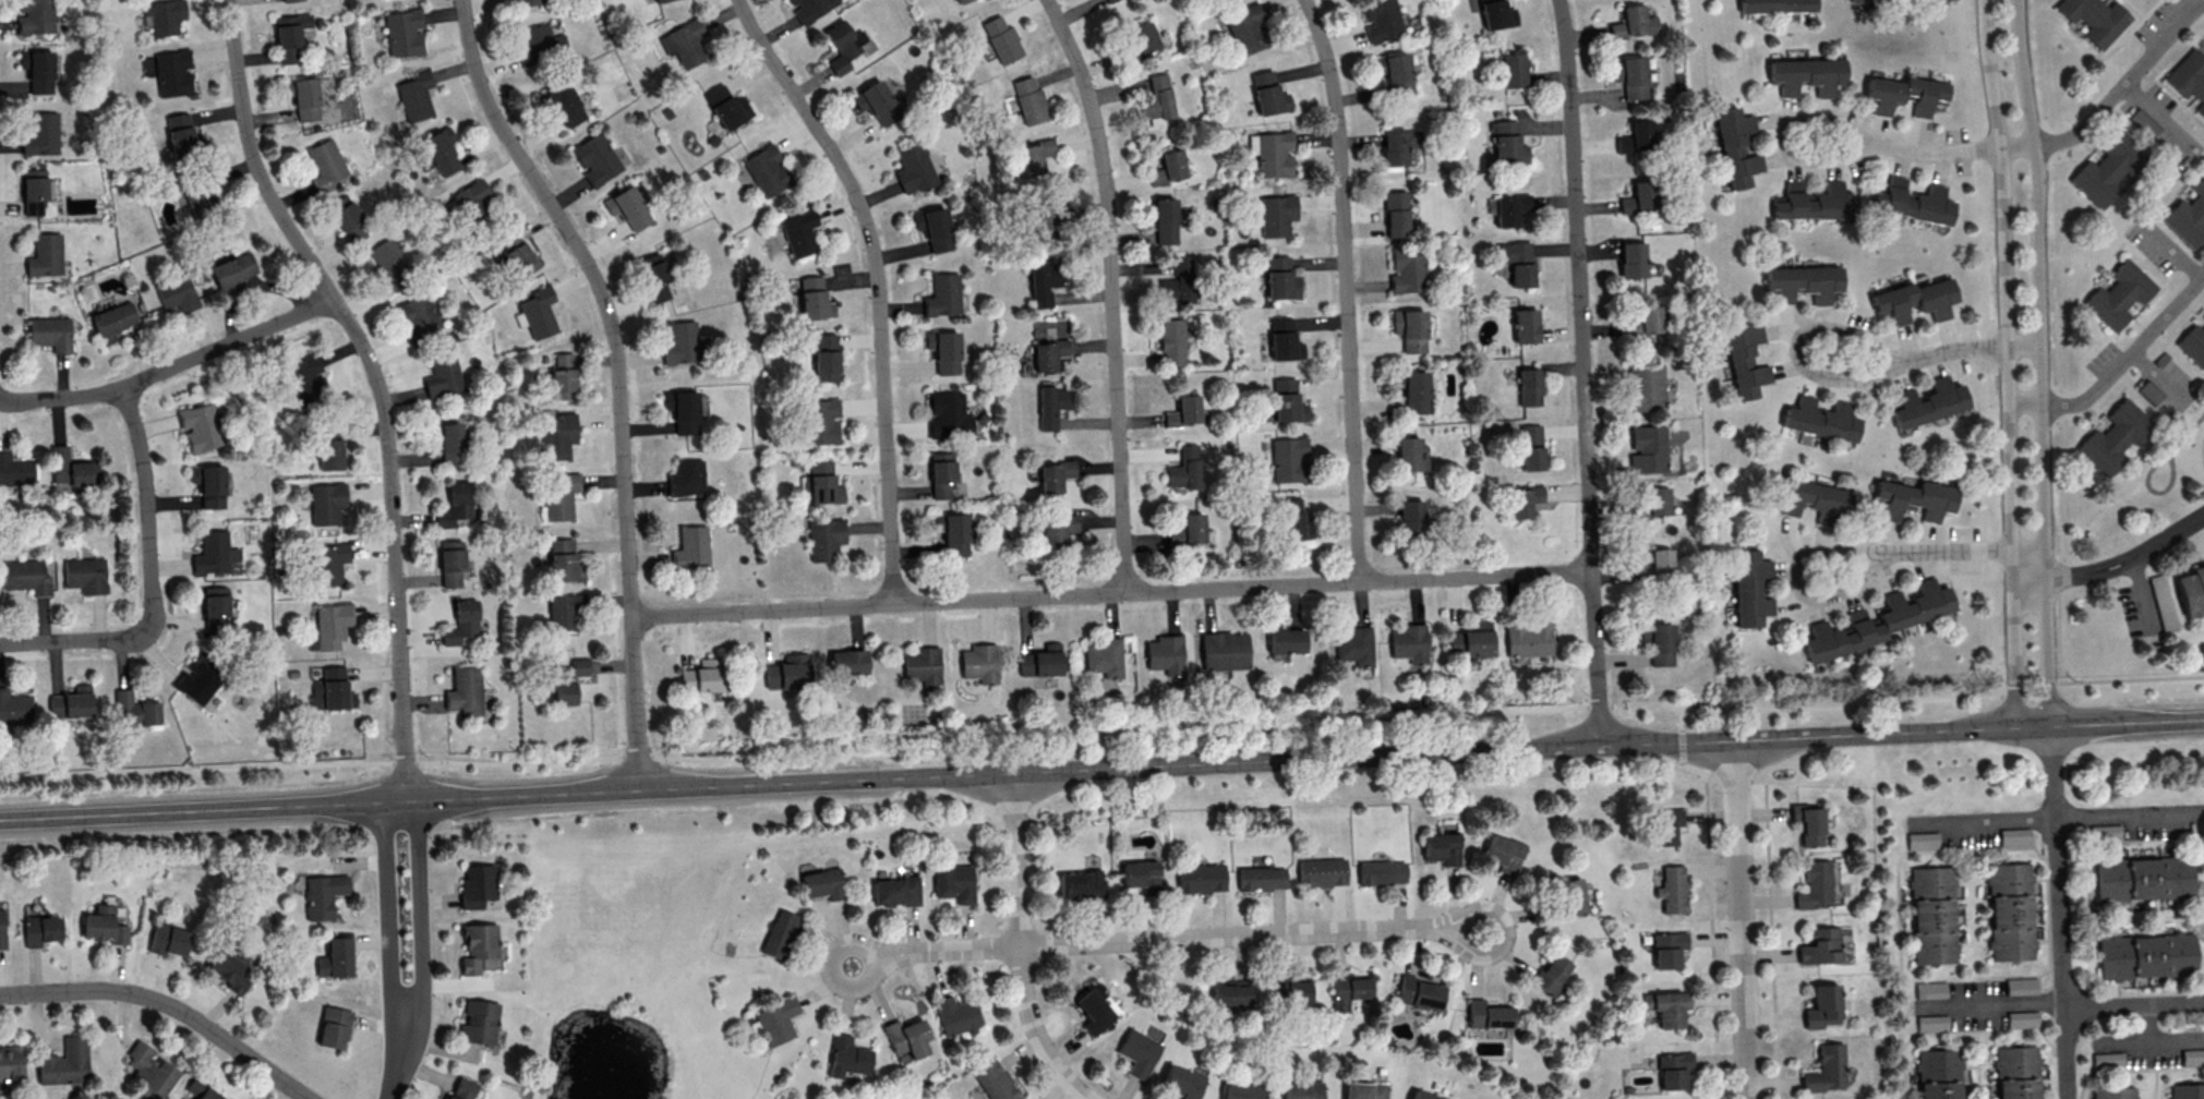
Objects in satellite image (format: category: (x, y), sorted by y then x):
building: (290, 0)
building: (660, 0)
building: (1109, 0)
building: (962, 1)
building: (528, 2)
building: (810, 8)
building: (37, 14)
building: (1497, 14)
building: (162, 15)
building: (1382, 19)
building: (2093, 20)
building: (1634, 22)
building: (1245, 29)
building: (405, 33)
building: (290, 36)
building: (1145, 36)
building: (1003, 39)
building: (683, 44)
building: (539, 46)
building: (844, 46)
building: (1394, 67)
building: (1514, 69)
building: (37, 70)
building: (172, 72)
building: (1807, 74)
building: (1633, 76)
building: (2188, 78)
building: (1884, 94)
building: (1267, 95)
building: (414, 96)
building: (1928, 96)
road: (2116, 96)
building: (305, 99)
building: (1157, 99)
building: (1031, 100)
building: (881, 101)
building: (562, 106)
building: (726, 108)
building: (40, 133)
building: (1641, 133)
building: (181, 134)
road: (1781, 135)
building: (1624, 143)
building: (1398, 145)
building: (1737, 146)
road: (1931, 149)
building: (437, 152)
building: (1034, 155)
building: (1270, 158)
building: (594, 160)
building: (326, 165)
building: (1168, 167)
building: (2108, 169)
building: (914, 170)
building: (766, 172)
building: (33, 190)
building: (197, 198)
building: (470, 202)
building: (1816, 202)
building: (628, 207)
building: (1510, 209)
building: (1396, 213)
building: (1041, 216)
building: (1275, 217)
building: (2189, 218)
building: (1164, 221)
building: (350, 222)
building: (935, 228)
building: (799, 233)
building: (518, 253)
building: (45, 254)
road: (2175, 254)
building: (1633, 259)
building: (1518, 262)
building: (389, 265)
building: (233, 268)
building: (1409, 269)
building: (655, 280)
building: (1279, 280)
building: (1045, 281)
building: (1821, 281)
road: (877, 282)
building: (1783, 282)
building: (1176, 283)
road: (1346, 288)
road: (1111, 290)
building: (177, 293)
building: (941, 297)
building: (2119, 297)
building: (815, 299)
building: (1915, 300)
building: (538, 313)
building: (421, 318)
building: (1646, 319)
building: (112, 321)
building: (1526, 325)
building: (1409, 330)
building: (50, 333)
building: (1171, 340)
building: (1284, 341)
building: (679, 343)
road: (1793, 345)
building: (2193, 346)
road: (1971, 347)
building: (943, 352)
building: (1049, 353)
building: (1745, 355)
building: (827, 358)
road: (2009, 364)
road: (2039, 364)
road: (171, 365)
road: (2119, 367)
road: (1583, 372)
road: (2155, 374)
building: (304, 375)
building: (563, 376)
road: (616, 376)
building: (444, 377)
road: (376, 383)
building: (1529, 386)
building: (1647, 386)
building: (1417, 391)
building: (1286, 402)
building: (1928, 402)
building: (1052, 404)
building: (682, 412)
building: (1182, 413)
building: (948, 418)
building: (1821, 419)
building: (818, 423)
building: (201, 426)
road: (2185, 432)
building: (557, 435)
building: (2116, 438)
building: (453, 443)
building: (1532, 447)
building: (1649, 448)
building: (330, 454)
building: (1410, 454)
building: (1286, 461)
building: (1184, 468)
building: (15, 469)
building: (70, 470)
building: (941, 474)
building: (1053, 475)
building: (685, 481)
building: (820, 483)
building: (209, 484)
road: (2152, 492)
building: (559, 495)
building: (1915, 498)
building: (1814, 499)
building: (1523, 500)
building: (328, 502)
building: (1654, 503)
building: (456, 505)
road: (148, 516)
building: (1410, 516)
building: (1290, 522)
building: (1193, 527)
building: (1058, 530)
building: (952, 535)
building: (823, 541)
building: (688, 548)
road: (1946, 552)
building: (215, 553)
building: (563, 560)
building: (451, 561)
building: (329, 563)
road: (2115, 564)
building: (1658, 565)
building: (86, 573)
road: (1793, 580)
building: (1750, 588)
road: (1110, 592)
building: (2192, 593)
road: (2144, 595)
building: (2163, 596)
building: (216, 608)
building: (564, 609)
building: (1879, 620)
building: (334, 624)
building: (462, 625)
building: (1529, 638)
road: (61, 639)
building: (1286, 640)
building: (1471, 642)
building: (1408, 644)
building: (1353, 648)
building: (1225, 650)
building: (1662, 652)
building: (1164, 655)
building: (1103, 659)
building: (1041, 661)
building: (846, 662)
building: (977, 665)
building: (920, 667)
building: (787, 672)
building: (702, 676)
building: (200, 679)
building: (569, 680)
building: (332, 689)
building: (465, 691)
building: (72, 703)
building: (14, 706)
building: (137, 709)
road: (1104, 734)
road: (1101, 766)
road: (2131, 818)
road: (1985, 821)
building: (1664, 824)
building: (1811, 825)
building: (2015, 836)
building: (1923, 840)
building: (1441, 850)
building: (1504, 853)
building: (1380, 873)
building: (1321, 874)
building: (1140, 878)
building: (1200, 879)
building: (954, 881)
building: (1260, 881)
building: (2142, 881)
building: (823, 883)
building: (1081, 883)
building: (478, 884)
building: (1814, 886)
building: (1672, 889)
building: (895, 891)
building: (323, 894)
road: (1710, 894)
building: (1569, 897)
building: (2009, 914)
road: (2059, 915)
building: (1930, 917)
road: (1742, 919)
road: (389, 920)
road: (423, 922)
building: (103, 928)
building: (1, 930)
building: (40, 930)
building: (780, 933)
road: (1237, 934)
building: (170, 939)
road: (1460, 940)
road: (1771, 941)
road: (1022, 944)
building: (1820, 945)
building: (480, 947)
road: (951, 947)
building: (1669, 947)
building: (337, 957)
building: (2145, 957)
park: (629, 965)
road: (829, 967)
building: (229, 970)
building: (1552, 973)
building: (2021, 986)
building: (1930, 989)
building: (1350, 990)
building: (1290, 992)
building: (1421, 992)
building: (1229, 995)
road: (169, 1003)
road: (2134, 1003)
building: (1667, 1006)
building: (1821, 1006)
road: (1994, 1006)
building: (1095, 1011)
building: (1490, 1014)
building: (958, 1015)
building: (2022, 1018)
building: (778, 1019)
building: (480, 1020)
building: (1932, 1023)
building: (334, 1027)
building: (908, 1039)
road: (2161, 1040)
building: (1140, 1051)
building: (848, 1056)
building: (2193, 1056)
building: (2109, 1060)
building: (11, 1062)
building: (65, 1063)
building: (149, 1067)
building: (1674, 1068)
building: (1824, 1071)
road: (396, 1072)
building: (2015, 1073)
building: (1937, 1075)
building: (997, 1082)
building: (1183, 1082)
building: (462, 1088)
building: (203, 1090)
building: (1365, 1090)
building: (1243, 1091)
building: (1302, 1091)
building: (2187, 1092)
building: (2112, 1094)
building: (1424, 1095)
park: (884, 1097)

